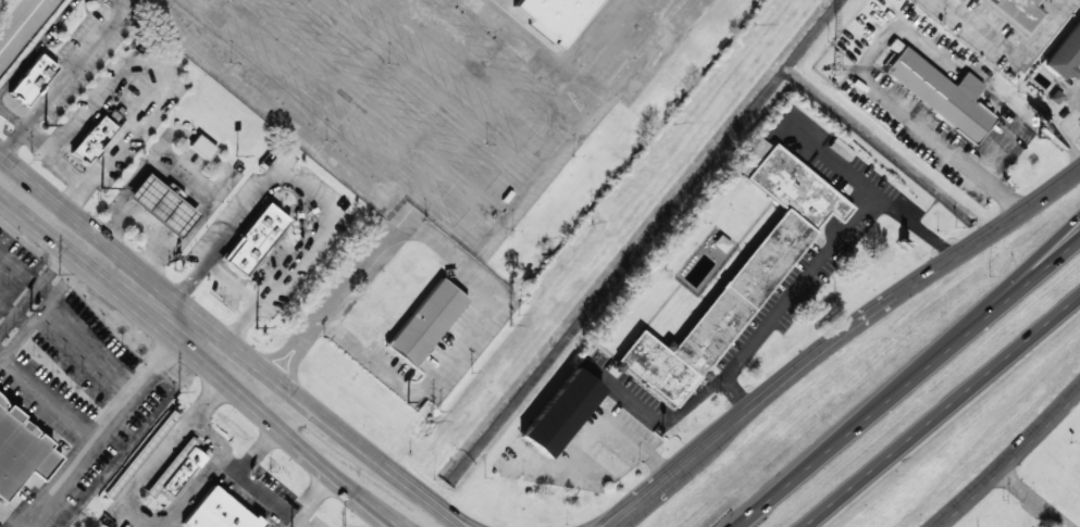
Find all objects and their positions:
building: (960, 0)
building: (1015, 12)
building: (555, 15)
building: (1065, 54)
building: (33, 79)
building: (939, 93)
building: (92, 139)
building: (202, 147)
building: (749, 155)
building: (163, 205)
building: (257, 240)
road: (1033, 266)
building: (743, 275)
road: (129, 287)
road: (885, 303)
building: (426, 323)
road: (905, 382)
road: (942, 412)
building: (562, 413)
road: (212, 432)
road: (339, 432)
road: (165, 447)
building: (21, 454)
road: (1007, 456)
road: (318, 464)
road: (228, 466)
building: (179, 467)
road: (245, 480)
road: (659, 488)
road: (188, 492)
road: (1033, 497)
road: (440, 506)
road: (436, 509)
building: (220, 513)
road: (473, 524)
road: (393, 525)
road: (394, 525)
road: (607, 526)
road: (613, 526)
road: (615, 526)

